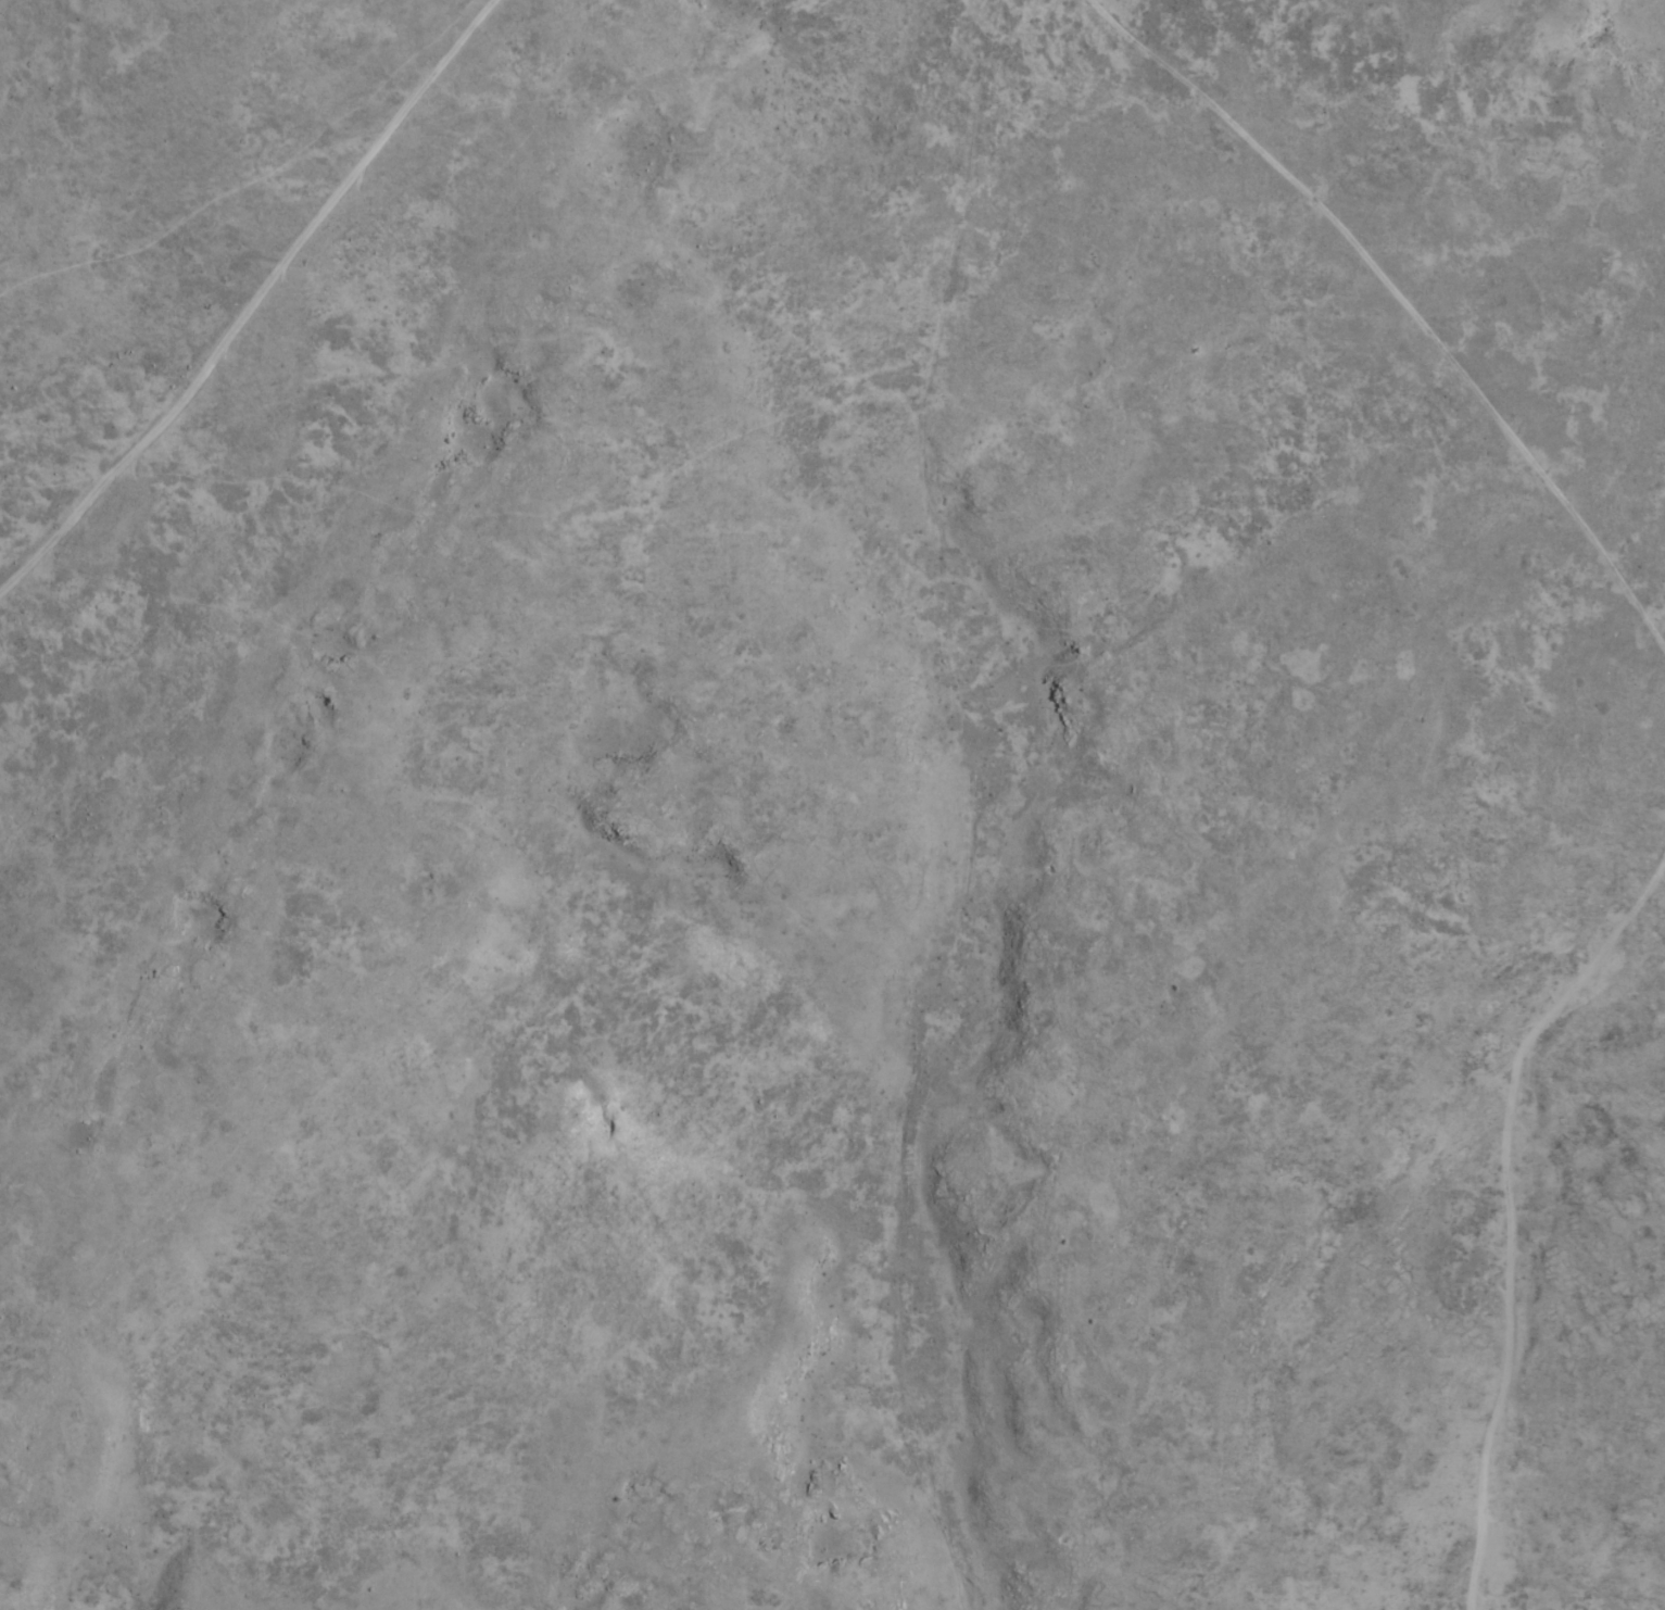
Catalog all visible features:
road: (254, 302)

